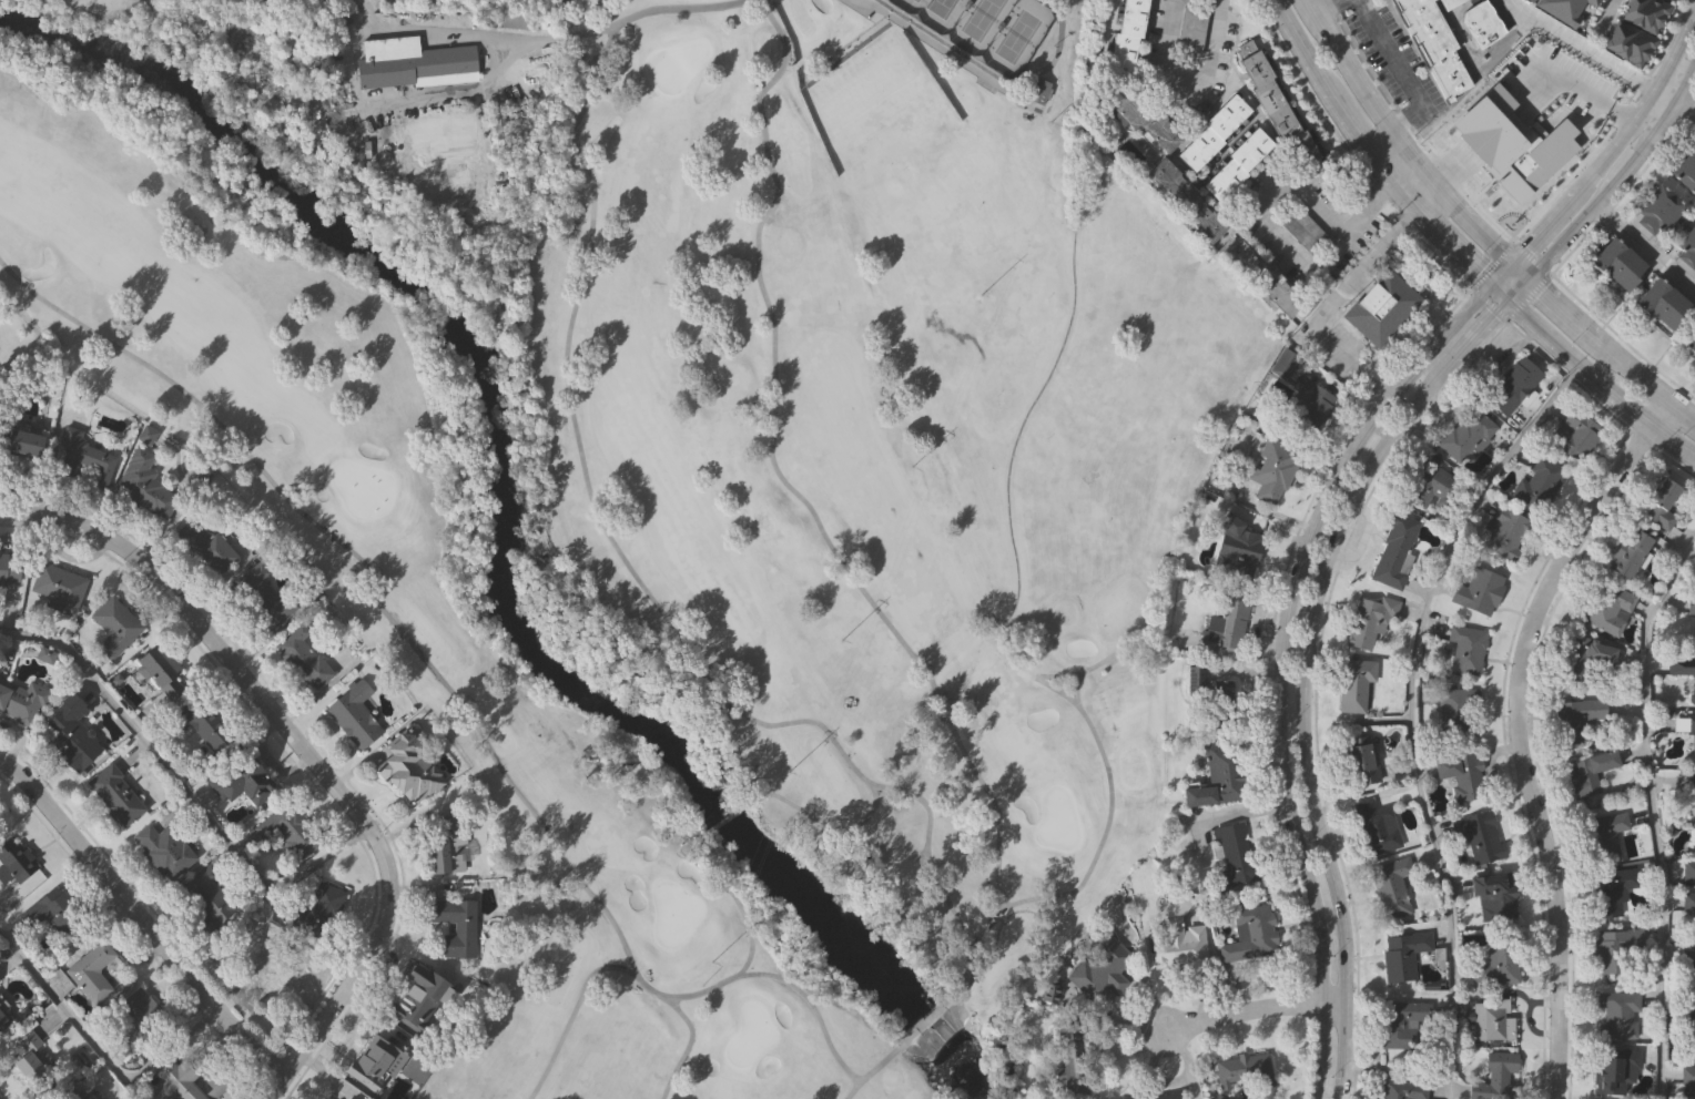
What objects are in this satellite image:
building: (1532, 0)
building: (1450, 2)
road: (362, 3)
park: (940, 3)
building: (1564, 8)
road: (653, 10)
road: (1323, 10)
park: (978, 13)
building: (1647, 13)
road: (1605, 19)
building: (517, 20)
building: (1483, 21)
road: (1307, 24)
park: (1016, 27)
building: (1195, 27)
building: (1127, 35)
road: (529, 41)
building: (871, 41)
building: (1435, 43)
road: (1579, 47)
road: (844, 49)
building: (417, 60)
road: (1400, 68)
road: (987, 78)
road: (483, 80)
road: (1186, 80)
road: (1684, 81)
building: (1582, 87)
building: (1041, 89)
road: (1651, 91)
road: (1675, 101)
building: (1281, 105)
building: (1144, 115)
road: (1411, 128)
building: (1217, 130)
building: (1511, 133)
building: (1005, 134)
road: (1653, 136)
road: (1413, 147)
road: (1373, 149)
road: (1351, 153)
building: (1238, 161)
road: (1408, 164)
building: (1687, 169)
road: (1576, 191)
building: (1187, 199)
building: (1657, 208)
road: (1583, 223)
building: (1302, 228)
road: (1539, 232)
road: (1289, 248)
road: (1645, 250)
building: (1687, 251)
road: (1531, 258)
building: (1620, 263)
road: (1492, 266)
road: (1504, 267)
building: (1263, 275)
road: (1526, 288)
road: (1503, 291)
road: (1529, 297)
road: (1329, 298)
building: (1388, 301)
building: (1665, 302)
road: (1490, 304)
building: (1691, 338)
road: (1615, 346)
road: (1603, 379)
building: (1512, 387)
building: (1307, 405)
road: (1661, 408)
building: (1466, 436)
building: (1574, 436)
building: (22, 444)
building: (82, 459)
building: (1270, 469)
park: (678, 471)
building: (1536, 482)
building: (142, 484)
building: (1429, 486)
building: (1661, 506)
road: (814, 518)
building: (1506, 533)
building: (206, 546)
building: (1393, 552)
building: (1241, 553)
building: (1628, 553)
road: (627, 562)
building: (9, 570)
building: (59, 588)
building: (1478, 591)
building: (260, 597)
building: (1607, 608)
building: (1692, 613)
building: (1225, 624)
building: (1369, 624)
building: (114, 628)
road: (407, 640)
building: (1464, 650)
building: (302, 658)
building: (1585, 659)
road: (1285, 660)
building: (1683, 670)
building: (160, 672)
road: (1316, 673)
road: (1038, 678)
building: (1354, 684)
building: (22, 702)
road: (1410, 708)
building: (1458, 713)
building: (353, 715)
building: (1575, 719)
building: (1689, 725)
building: (200, 726)
building: (68, 734)
road: (1516, 743)
road: (303, 753)
building: (1359, 760)
building: (405, 769)
building: (1587, 773)
building: (1462, 775)
building: (1216, 777)
building: (238, 781)
road: (180, 784)
building: (115, 796)
building: (1693, 797)
road: (1109, 808)
road: (1653, 811)
road: (724, 820)
road: (824, 823)
building: (1377, 827)
building: (290, 831)
building: (1602, 835)
building: (1479, 836)
building: (444, 849)
building: (163, 851)
building: (1234, 854)
building: (14, 861)
building: (1688, 871)
building: (1390, 888)
building: (1611, 891)
building: (1496, 893)
building: (209, 896)
building: (1688, 905)
building: (317, 912)
building: (55, 913)
road: (142, 918)
building: (455, 926)
building: (1178, 934)
building: (1250, 935)
road: (750, 936)
building: (1613, 953)
building: (1401, 954)
building: (1688, 959)
building: (1498, 961)
building: (1098, 968)
building: (275, 969)
building: (92, 973)
building: (409, 994)
road: (812, 1005)
building: (140, 1011)
road: (1256, 1011)
road: (571, 1014)
building: (1617, 1016)
road: (931, 1018)
building: (1491, 1020)
building: (1400, 1022)
building: (3, 1026)
building: (1689, 1031)
road: (98, 1051)
building: (1067, 1052)
building: (23, 1055)
building: (373, 1060)
road: (880, 1065)
building: (1613, 1067)
building: (1246, 1070)
building: (1495, 1077)
building: (175, 1080)
building: (216, 1081)
building: (1688, 1081)
building: (1401, 1089)
building: (1158, 1093)
building: (70, 1096)
building: (85, 1097)

